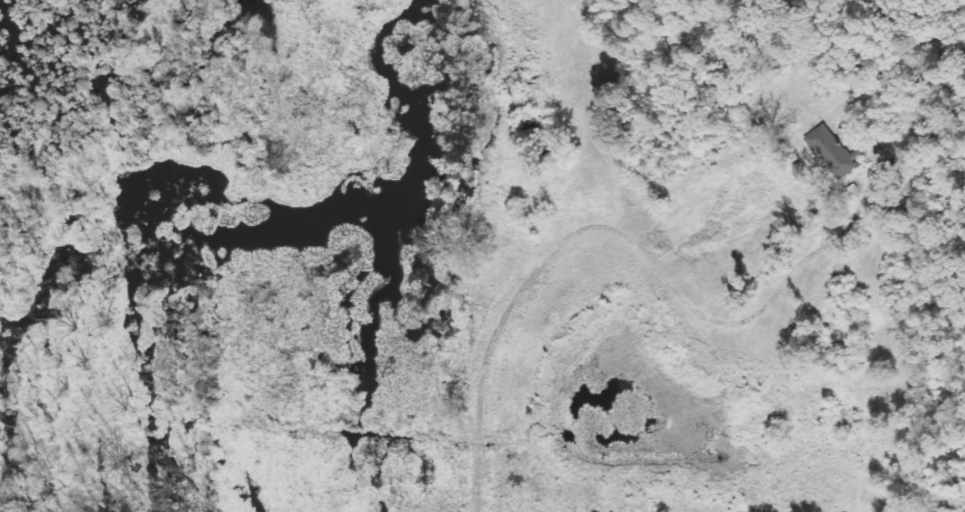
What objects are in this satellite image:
building: (836, 151)

